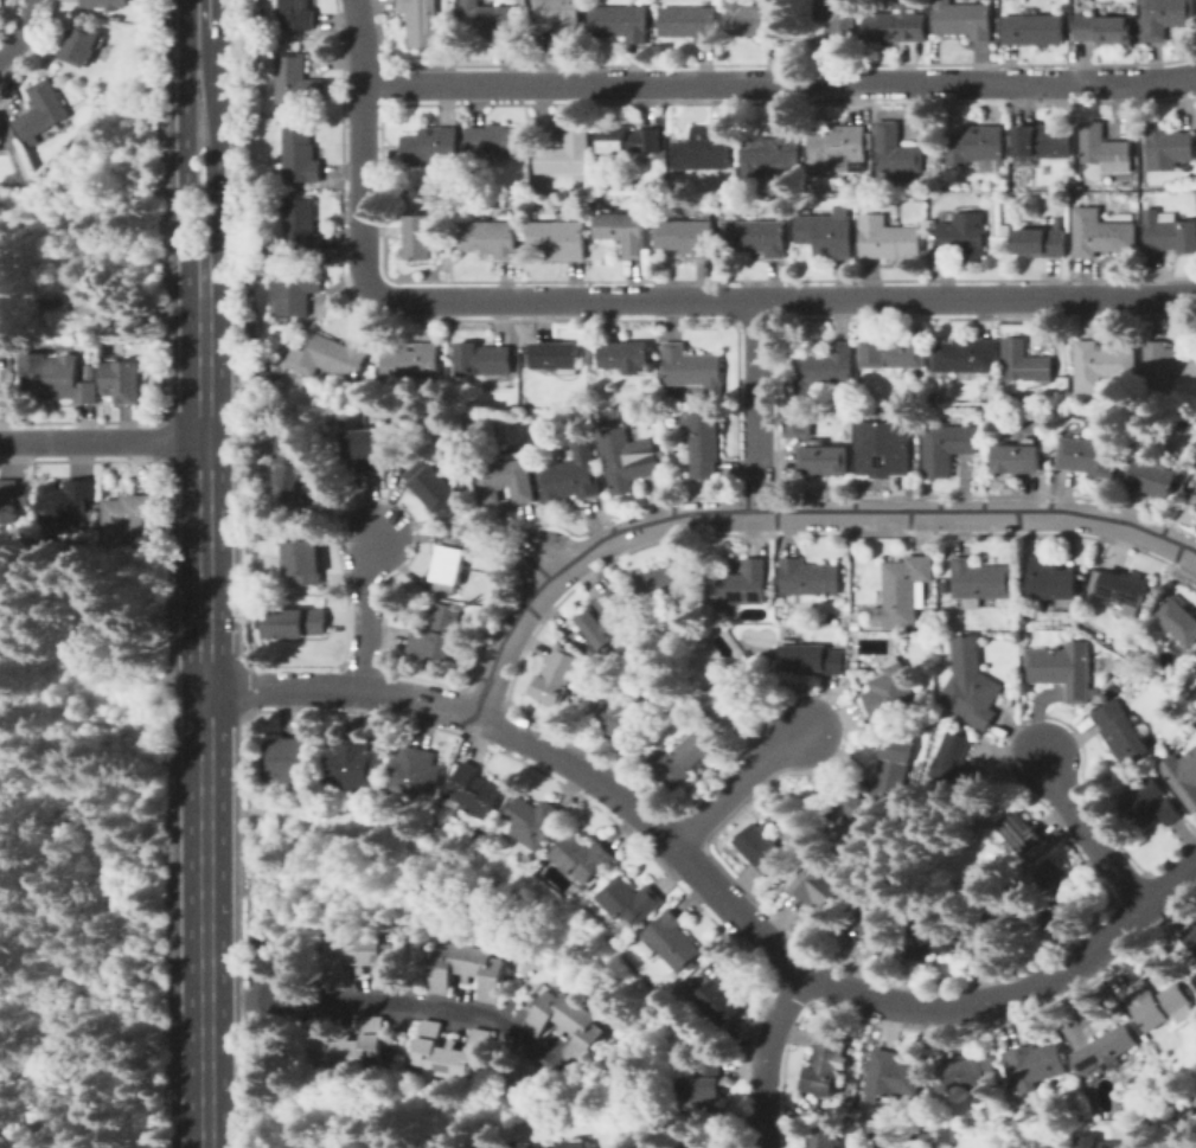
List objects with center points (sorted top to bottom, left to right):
building: (105, 4)
road: (200, 14)
building: (295, 14)
building: (1165, 18)
building: (837, 19)
building: (561, 20)
building: (756, 20)
building: (964, 20)
building: (491, 21)
building: (621, 21)
building: (690, 23)
building: (424, 24)
building: (898, 24)
road: (21, 30)
building: (1034, 30)
building: (1105, 30)
building: (82, 45)
road: (202, 47)
building: (105, 49)
building: (299, 82)
road: (779, 83)
building: (41, 111)
building: (495, 140)
building: (627, 140)
building: (665, 140)
building: (1040, 142)
building: (431, 146)
building: (977, 147)
building: (1168, 147)
building: (839, 148)
building: (1105, 149)
building: (705, 150)
building: (896, 150)
building: (770, 152)
building: (569, 153)
building: (299, 154)
road: (218, 173)
building: (735, 173)
road: (186, 174)
building: (1192, 193)
building: (434, 195)
building: (920, 198)
building: (1005, 230)
building: (299, 231)
building: (625, 232)
building: (1169, 232)
building: (829, 233)
building: (1100, 233)
building: (964, 235)
building: (420, 237)
building: (687, 237)
building: (760, 237)
building: (491, 238)
building: (888, 238)
building: (559, 239)
building: (1042, 242)
building: (256, 267)
building: (9, 270)
building: (295, 290)
road: (637, 299)
building: (6, 318)
building: (251, 322)
building: (895, 354)
building: (626, 357)
building: (967, 357)
building: (331, 358)
building: (558, 358)
building: (484, 359)
building: (412, 361)
building: (1025, 363)
building: (1101, 364)
building: (1166, 365)
building: (825, 367)
building: (692, 368)
building: (59, 378)
building: (123, 380)
building: (257, 387)
building: (383, 399)
building: (596, 399)
building: (455, 402)
building: (584, 403)
road: (756, 406)
building: (798, 424)
road: (102, 443)
building: (704, 444)
building: (369, 448)
building: (884, 448)
building: (946, 448)
building: (1089, 457)
building: (628, 458)
building: (1016, 458)
building: (825, 460)
building: (288, 474)
building: (574, 475)
building: (1155, 476)
building: (509, 480)
building: (1191, 487)
building: (435, 488)
building: (1194, 499)
building: (13, 500)
building: (70, 504)
building: (134, 511)
road: (793, 515)
building: (143, 541)
building: (306, 557)
building: (450, 565)
building: (808, 579)
building: (1051, 581)
building: (980, 582)
building: (845, 583)
building: (664, 585)
building: (740, 585)
building: (1121, 589)
building: (904, 591)
building: (1079, 608)
road: (369, 611)
building: (608, 621)
building: (1178, 621)
building: (296, 623)
building: (856, 626)
building: (927, 626)
building: (437, 633)
building: (576, 634)
building: (844, 637)
building: (812, 659)
building: (856, 666)
building: (1062, 669)
building: (1195, 672)
building: (558, 676)
building: (971, 684)
building: (1114, 690)
building: (733, 693)
building: (1095, 693)
building: (893, 694)
building: (930, 707)
road: (205, 716)
building: (622, 716)
building: (1121, 732)
building: (684, 758)
building: (289, 759)
building: (352, 763)
building: (957, 764)
building: (895, 769)
building: (415, 772)
building: (1182, 776)
road: (736, 787)
building: (474, 791)
building: (1150, 803)
building: (535, 821)
building: (855, 822)
building: (484, 833)
building: (1017, 833)
road: (1089, 834)
building: (761, 848)
building: (526, 858)
building: (583, 858)
building: (1059, 884)
road: (712, 886)
building: (818, 886)
building: (629, 903)
building: (1047, 915)
building: (872, 925)
building: (994, 929)
building: (1191, 937)
building: (929, 939)
building: (674, 941)
building: (360, 960)
building: (468, 970)
building: (722, 992)
road: (395, 1001)
building: (1156, 1003)
building: (567, 1024)
road: (769, 1043)
building: (350, 1044)
building: (1106, 1050)
building: (454, 1052)
building: (826, 1065)
building: (1035, 1066)
building: (966, 1073)
building: (893, 1075)
building: (703, 1086)
road: (766, 1134)
building: (823, 1137)
building: (1098, 1142)
building: (574, 1146)
building: (526, 1147)

